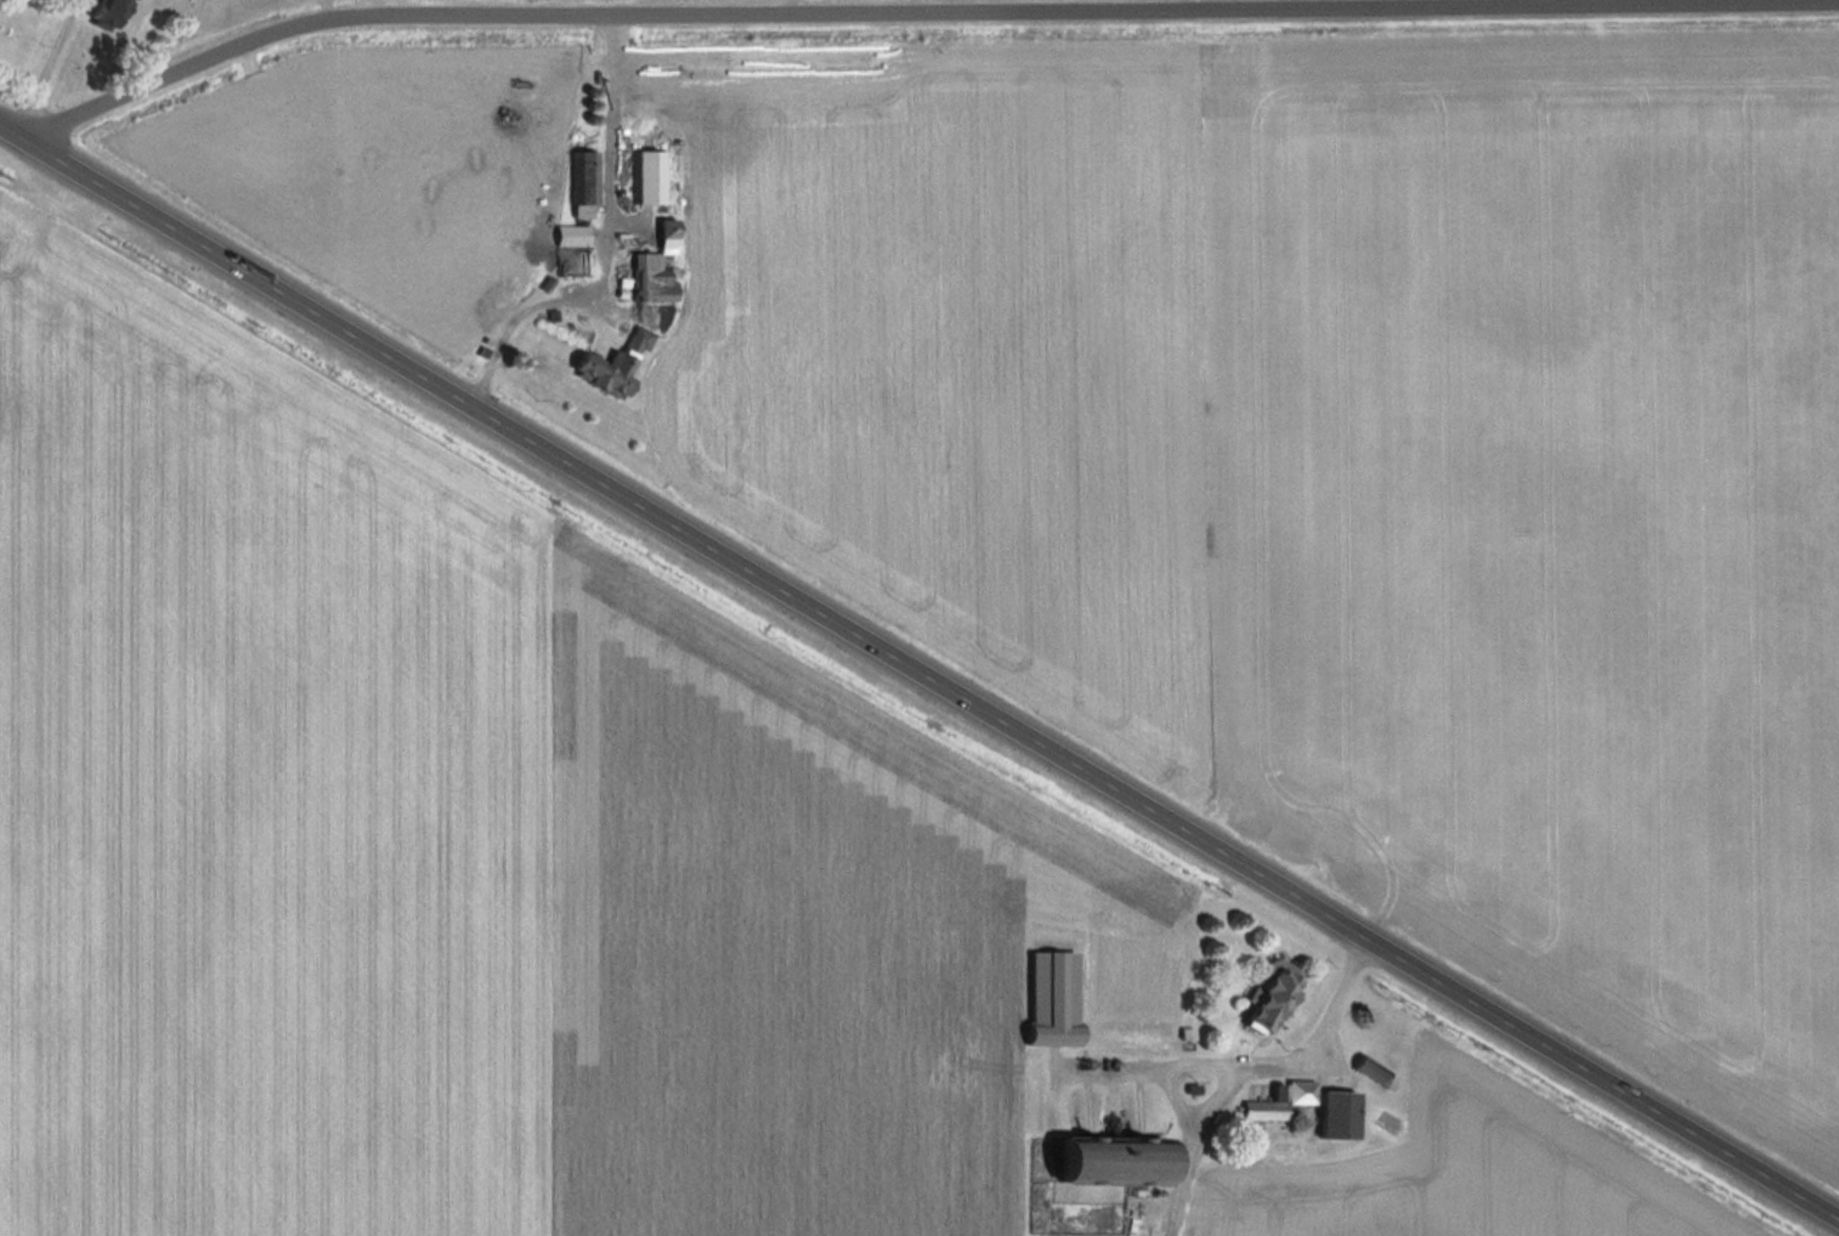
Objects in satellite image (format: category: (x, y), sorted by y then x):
building: (112, 12)
road: (918, 19)
road: (39, 67)
building: (650, 174)
building: (583, 185)
building: (669, 226)
building: (572, 234)
building: (652, 277)
building: (615, 363)
road: (918, 671)
building: (1275, 993)
building: (1068, 1033)
road: (1246, 1061)
building: (1375, 1070)
building: (1281, 1099)
building: (1341, 1111)
building: (1121, 1158)

